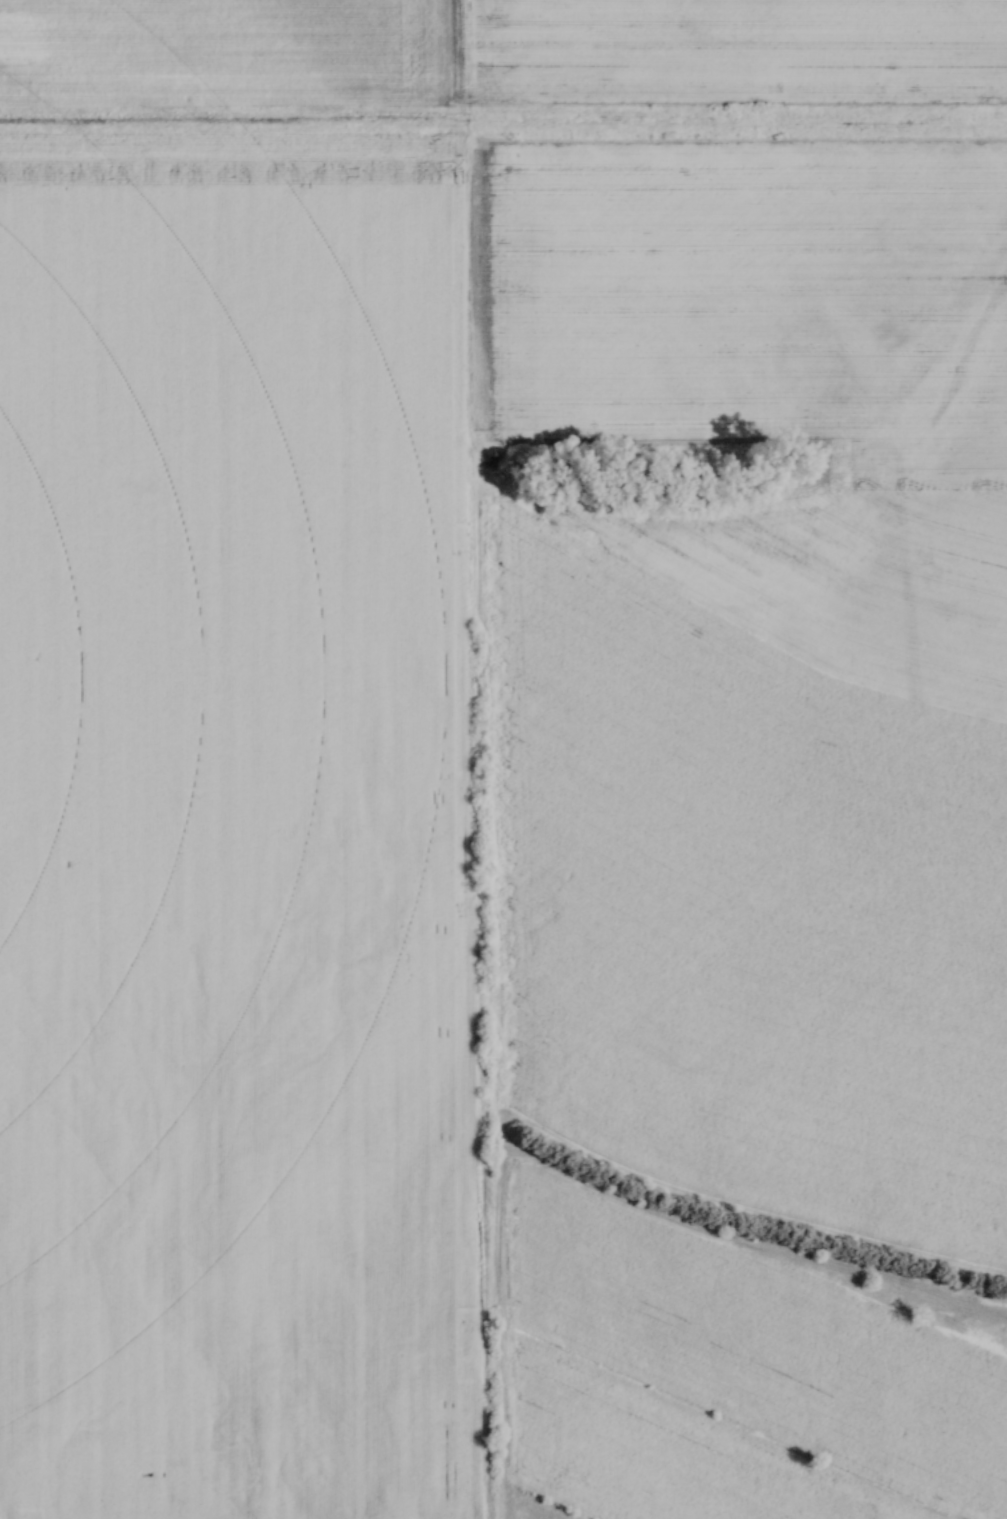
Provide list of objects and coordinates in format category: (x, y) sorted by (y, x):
river: (503, 122)

